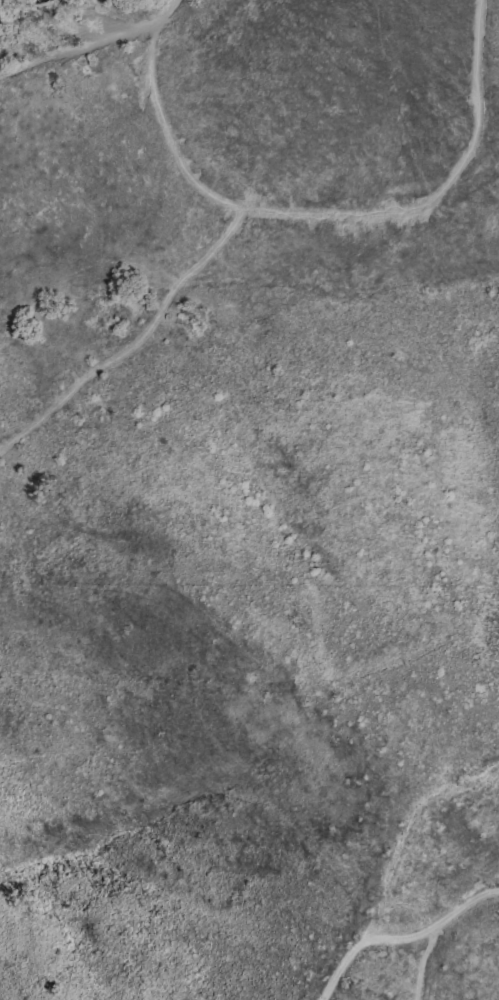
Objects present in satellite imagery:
road: (168, 8)
road: (244, 203)
park: (66, 760)

